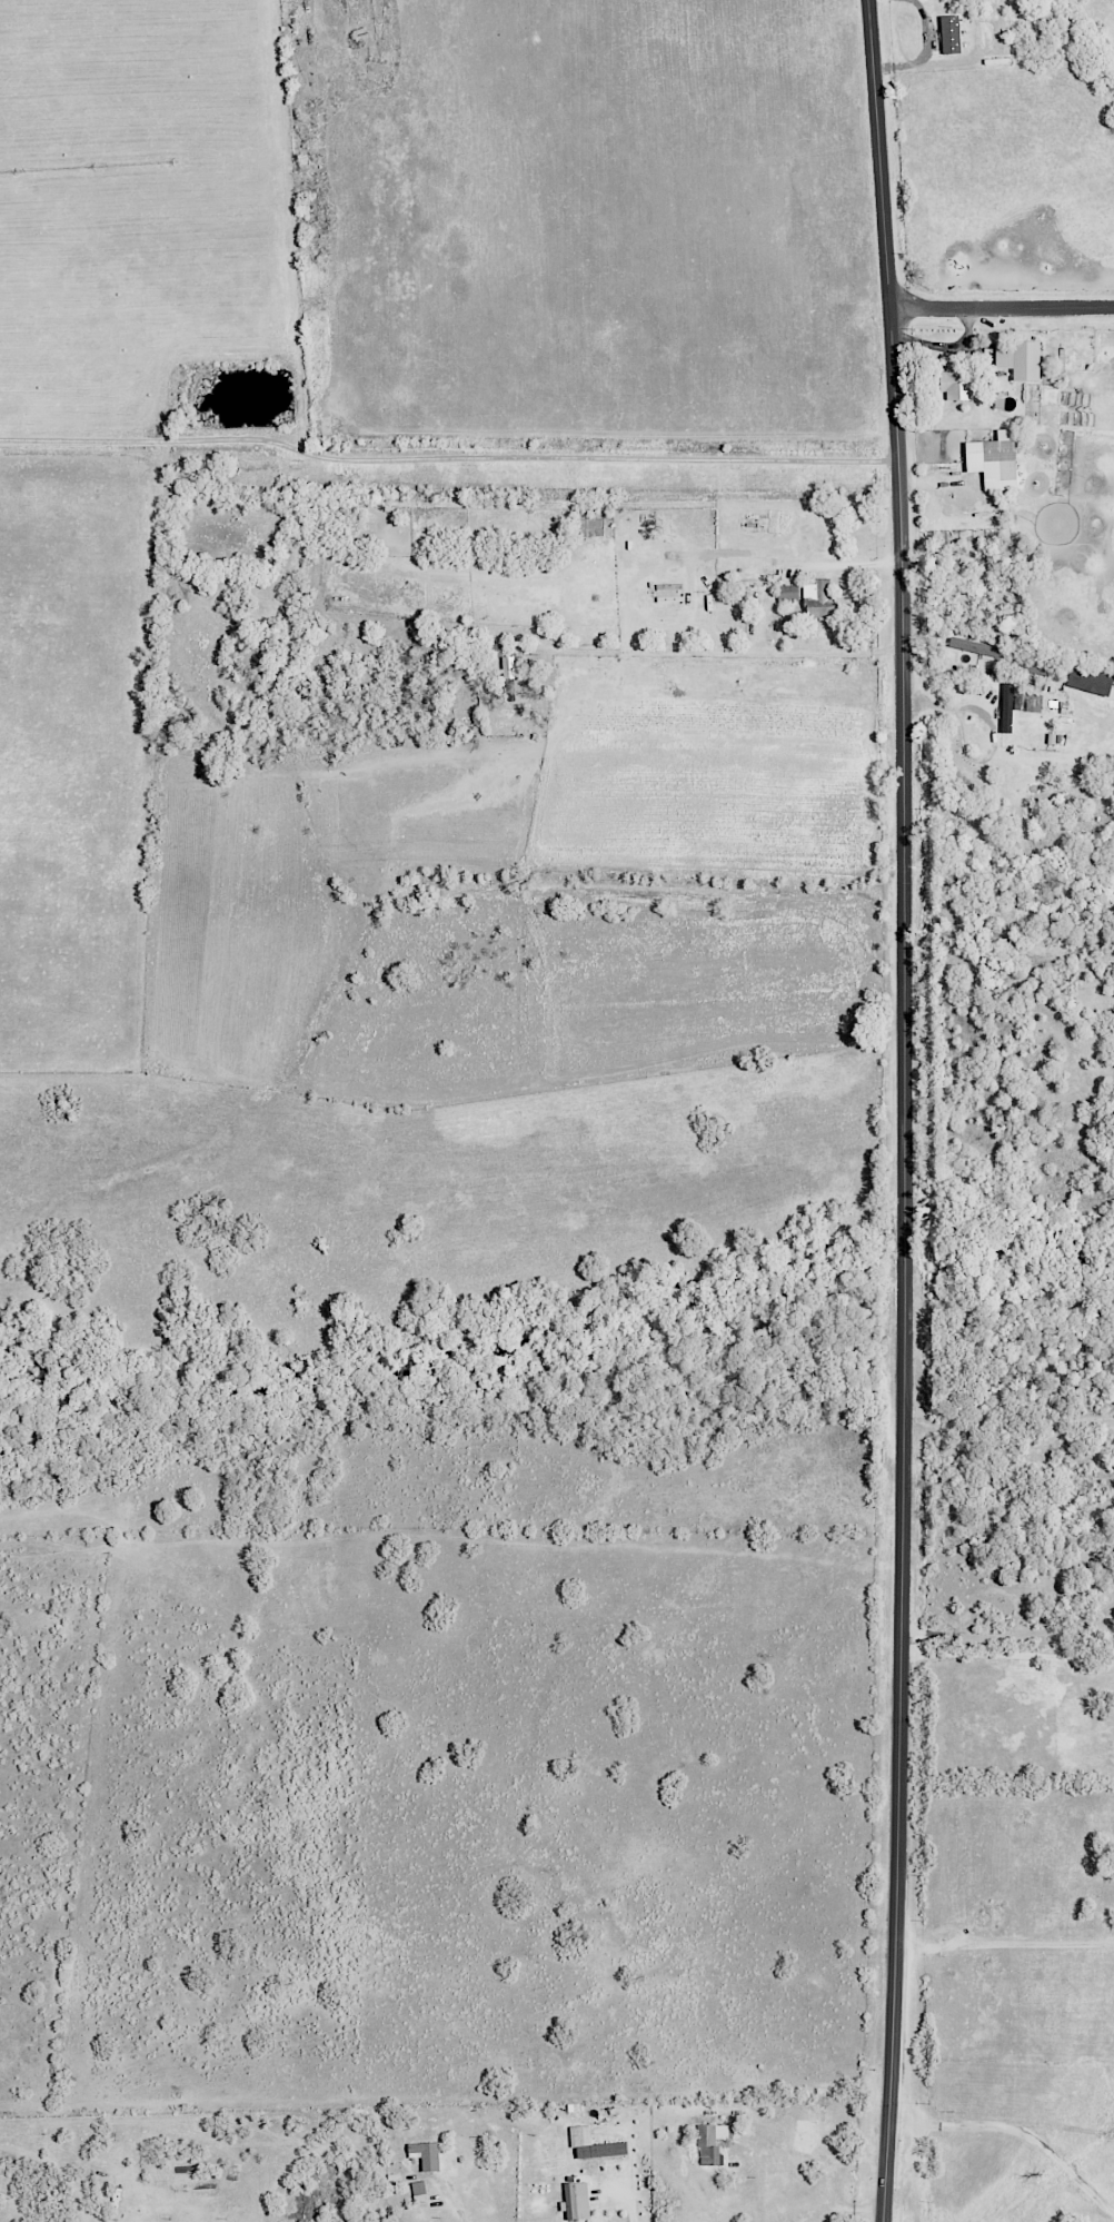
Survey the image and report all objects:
road: (1002, 307)
building: (1018, 358)
building: (1050, 374)
building: (959, 383)
road: (447, 456)
building: (993, 460)
road: (639, 564)
road: (810, 567)
building: (788, 592)
building: (818, 599)
road: (729, 651)
building: (509, 676)
building: (1041, 702)
building: (1006, 707)
road: (987, 728)
road: (906, 1110)
road: (1008, 1421)
road: (1011, 1635)
road: (1007, 1655)
road: (302, 1917)
road: (567, 1928)
road: (1003, 1944)
road: (1015, 2130)
building: (803, 2135)
building: (709, 2141)
building: (593, 2143)
building: (424, 2154)
building: (418, 2191)
building: (575, 2200)
road: (457, 2214)

